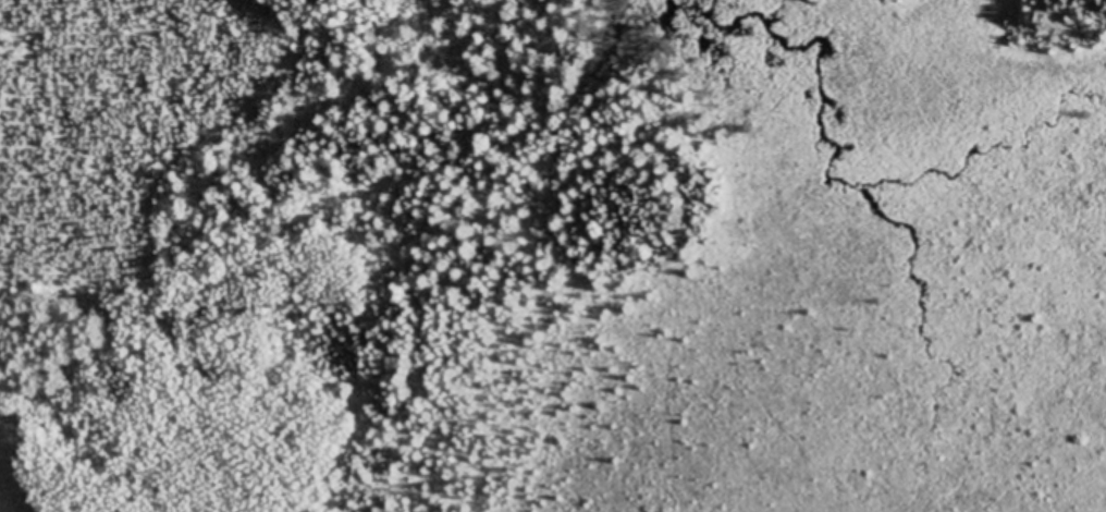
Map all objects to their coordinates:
road: (109, 190)

